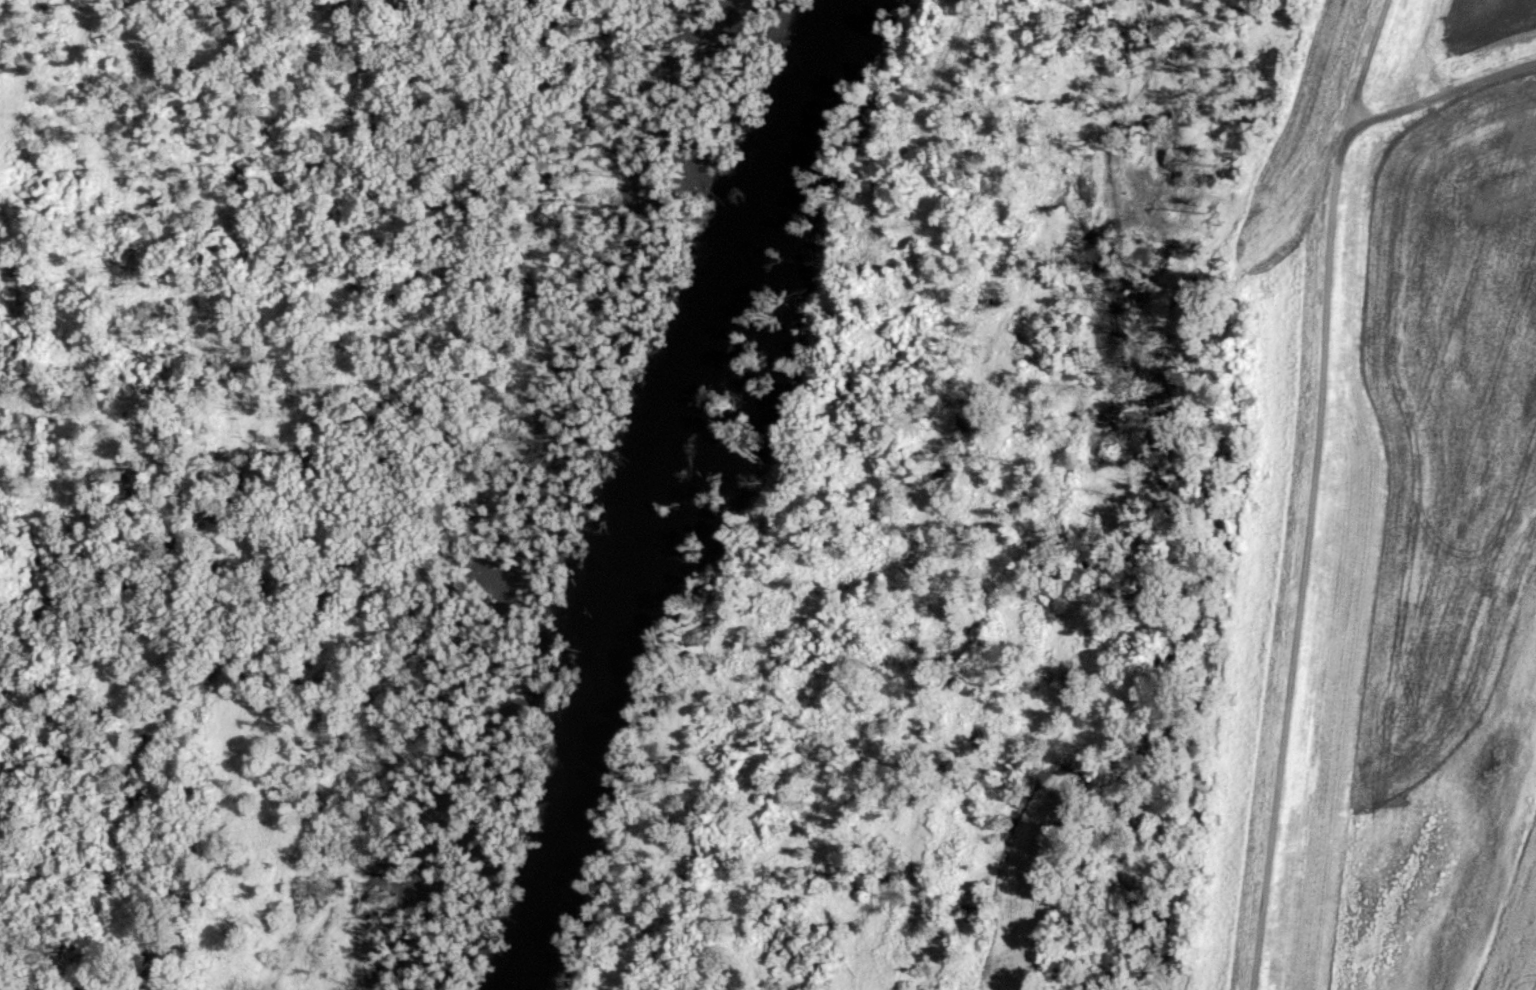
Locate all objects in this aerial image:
road: (1315, 460)

